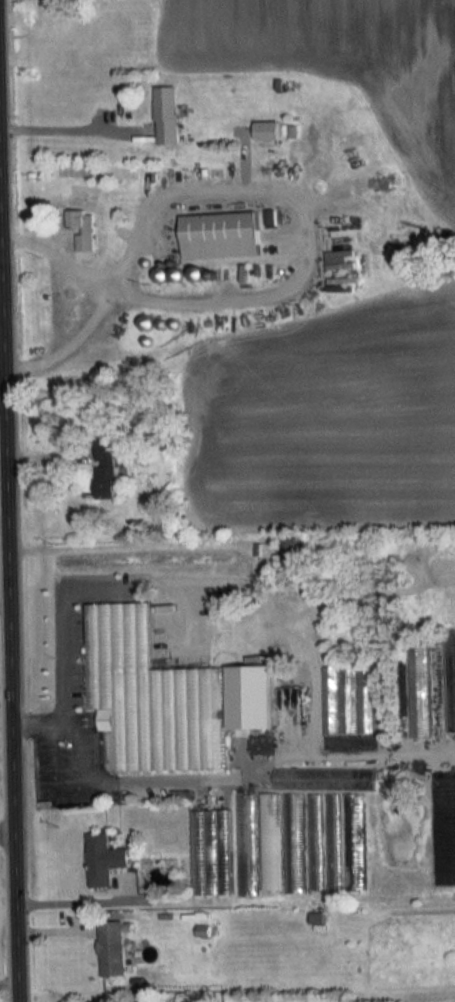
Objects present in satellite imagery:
building: (166, 115)
road: (69, 128)
road: (294, 212)
building: (82, 228)
building: (219, 235)
road: (6, 309)
building: (103, 468)
road: (15, 500)
building: (294, 549)
building: (237, 567)
road: (9, 607)
building: (449, 677)
building: (76, 684)
building: (419, 686)
building: (348, 698)
building: (169, 717)
road: (36, 725)
road: (245, 773)
building: (324, 778)
road: (79, 784)
road: (11, 826)
building: (334, 840)
building: (354, 840)
building: (316, 841)
building: (293, 842)
building: (206, 849)
building: (104, 857)
road: (81, 897)
building: (113, 946)

